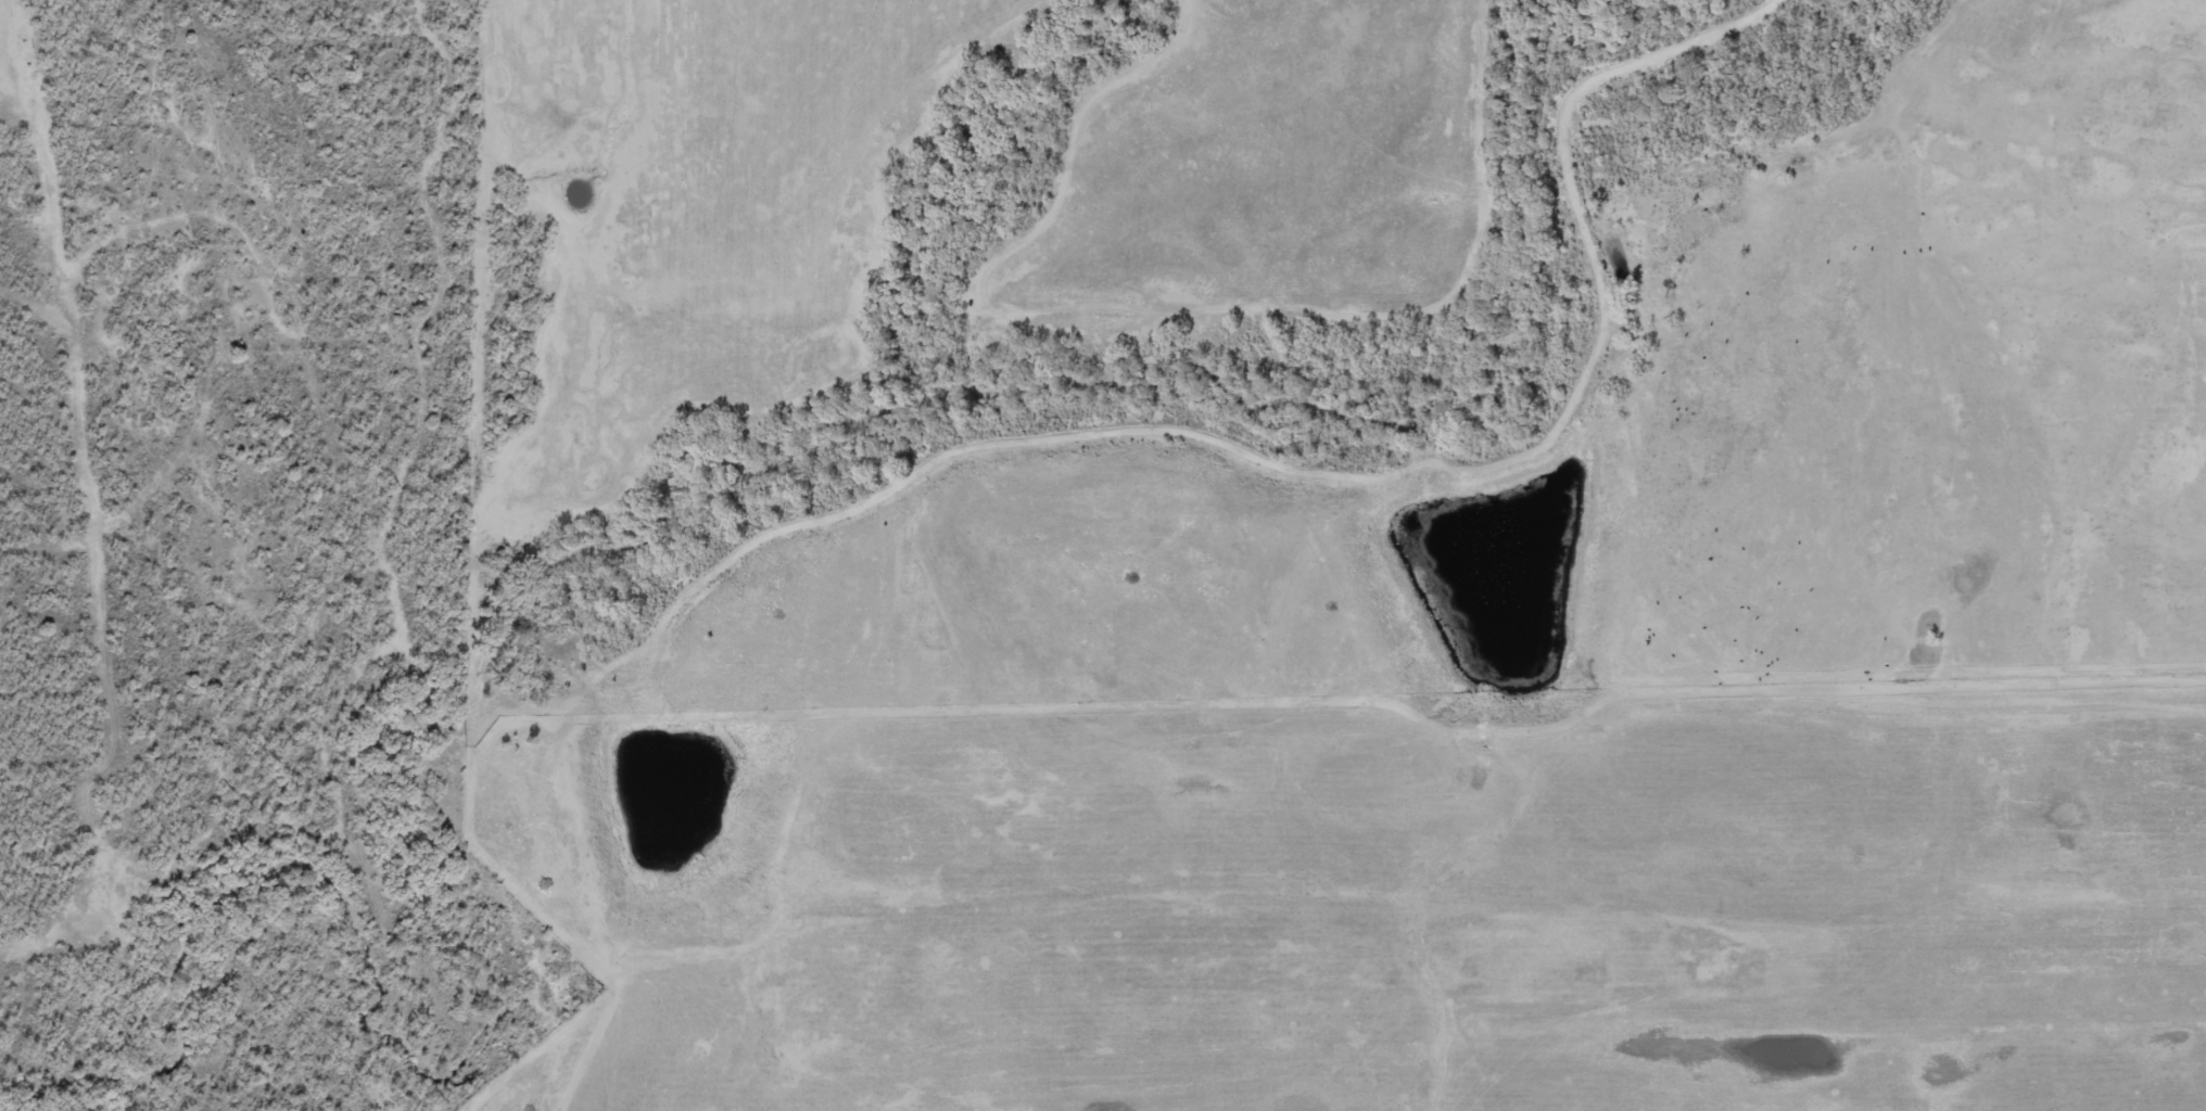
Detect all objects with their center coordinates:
road: (1474, 536)

